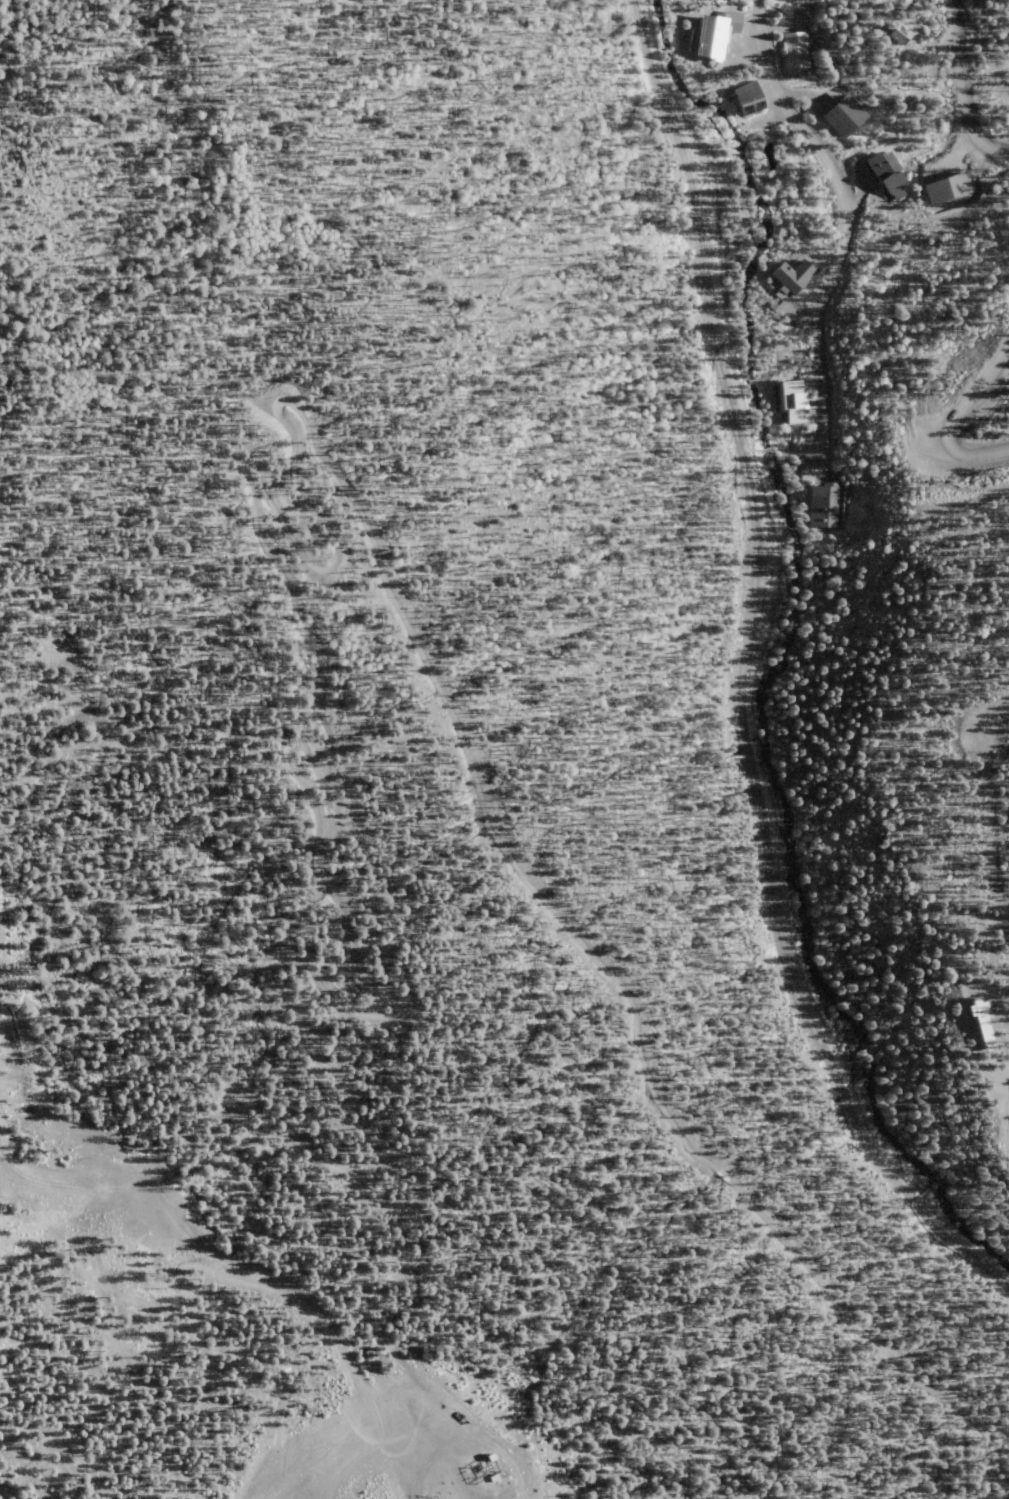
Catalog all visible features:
building: (717, 33)
building: (902, 35)
building: (797, 51)
road: (962, 89)
building: (753, 107)
building: (846, 117)
building: (890, 176)
building: (949, 188)
road: (843, 221)
building: (788, 273)
road: (979, 400)
building: (793, 403)
road: (976, 453)
building: (814, 466)
building: (824, 506)
road: (281, 591)
road: (769, 666)
road: (992, 718)
ski resort: (433, 803)
building: (976, 1020)
road: (52, 1220)
road: (266, 1350)
road: (150, 1421)
road: (61, 1435)
road: (446, 1470)
road: (501, 1475)
building: (491, 1478)
road: (179, 1493)
aerialway pylon: (432, 1498)

